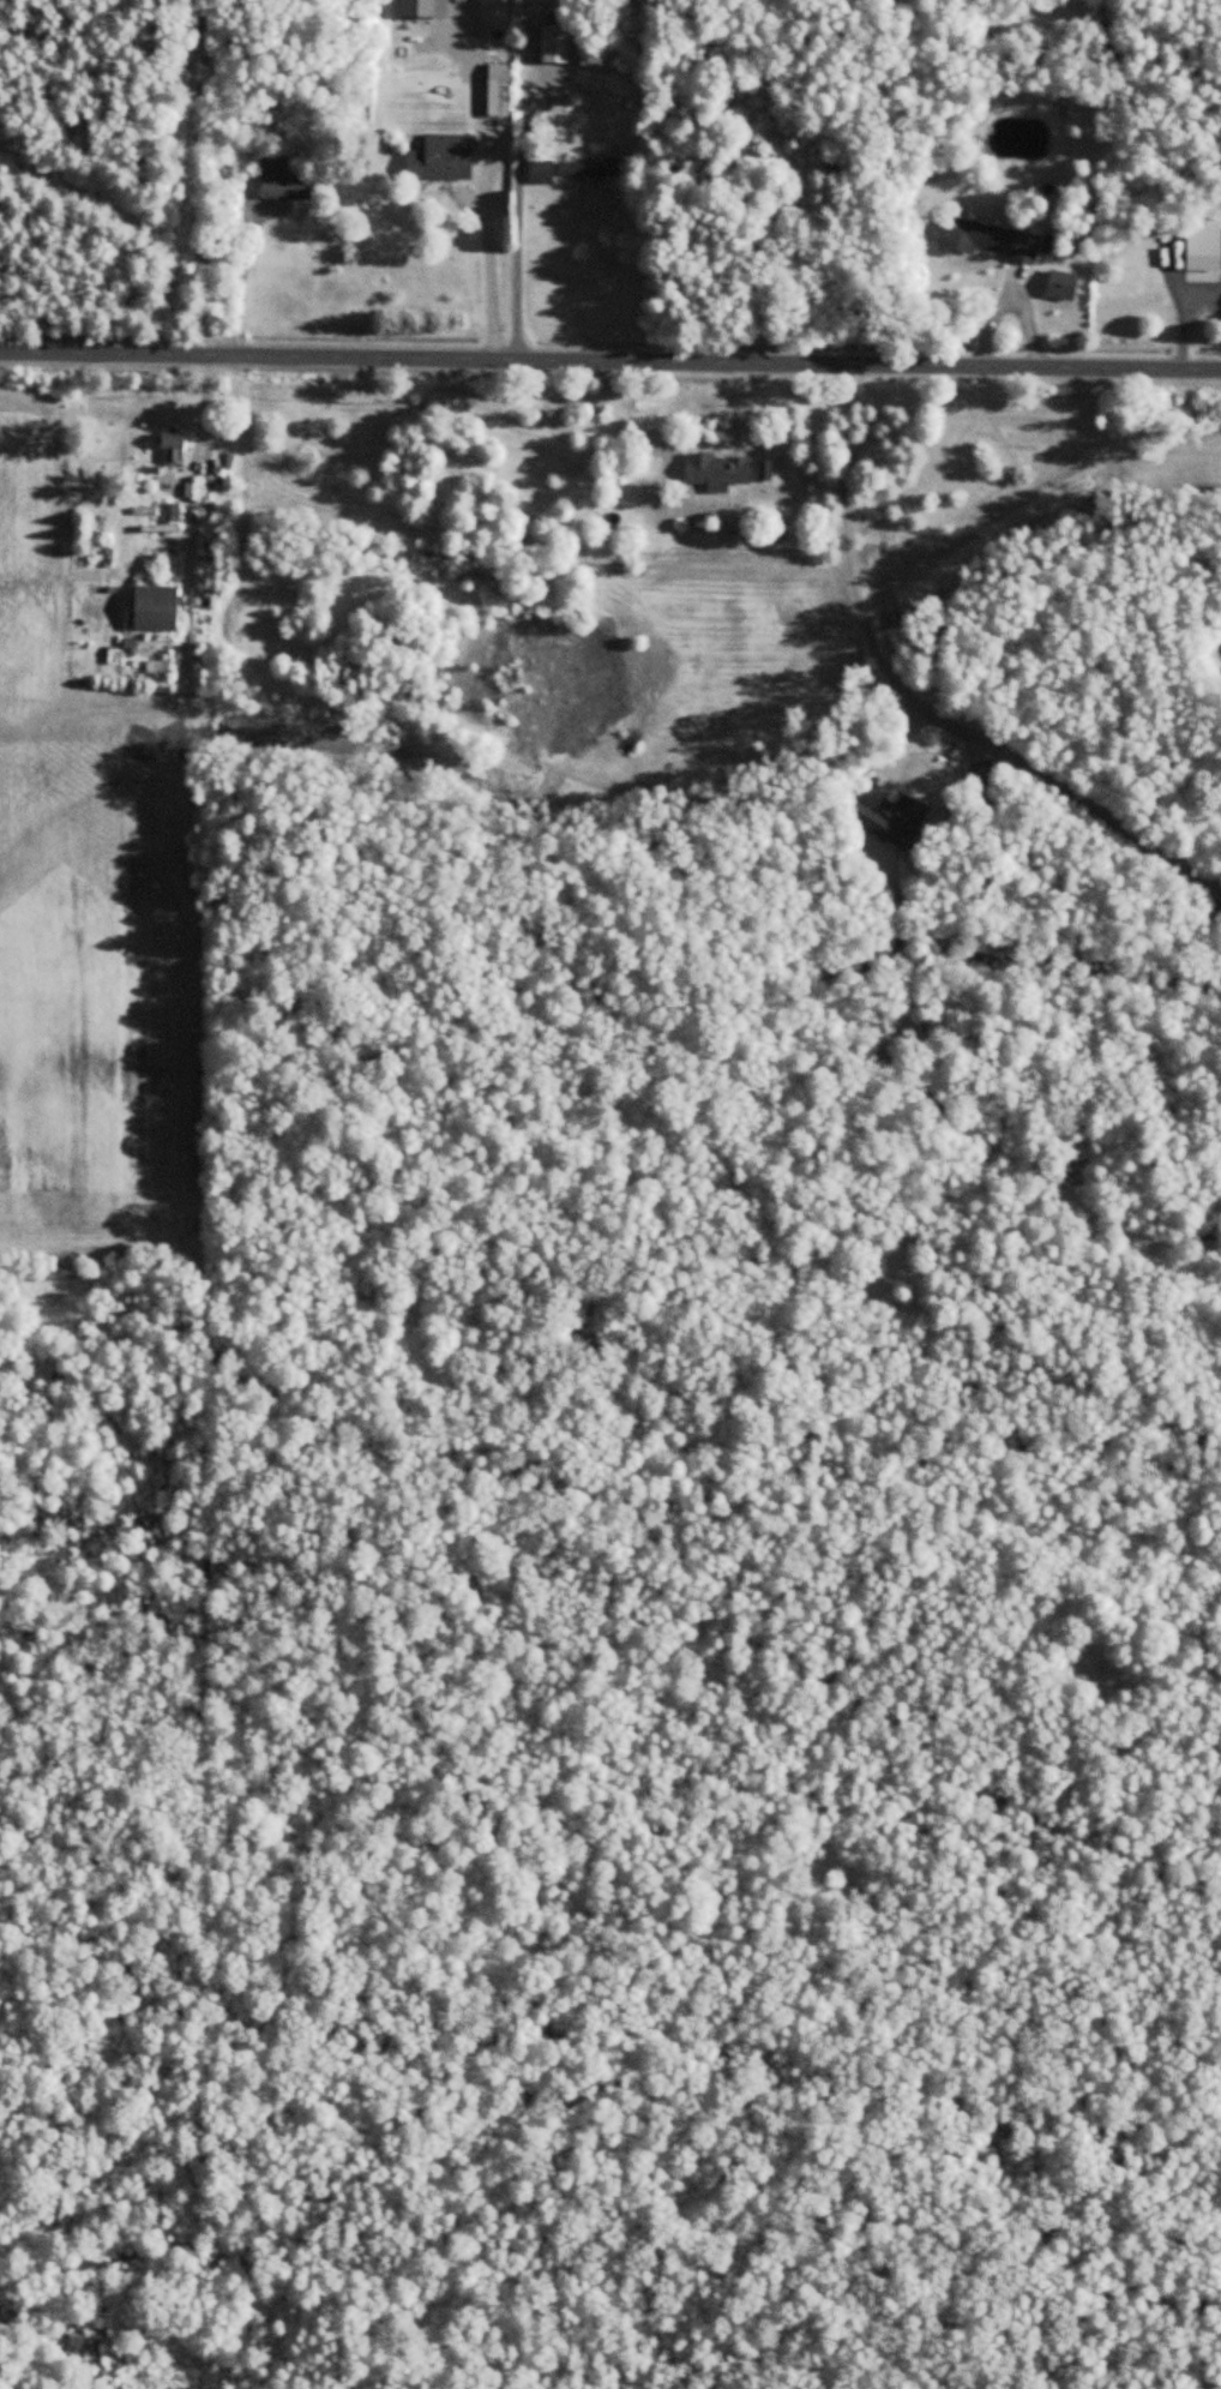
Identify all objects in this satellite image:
building: (426, 8)
building: (557, 46)
building: (500, 91)
building: (770, 140)
building: (441, 160)
building: (836, 166)
building: (573, 172)
road: (480, 176)
building: (288, 179)
road: (512, 206)
building: (991, 242)
building: (1205, 250)
road: (243, 277)
road: (610, 358)
building: (173, 443)
building: (720, 474)
road: (852, 581)
building: (156, 611)
building: (890, 824)

